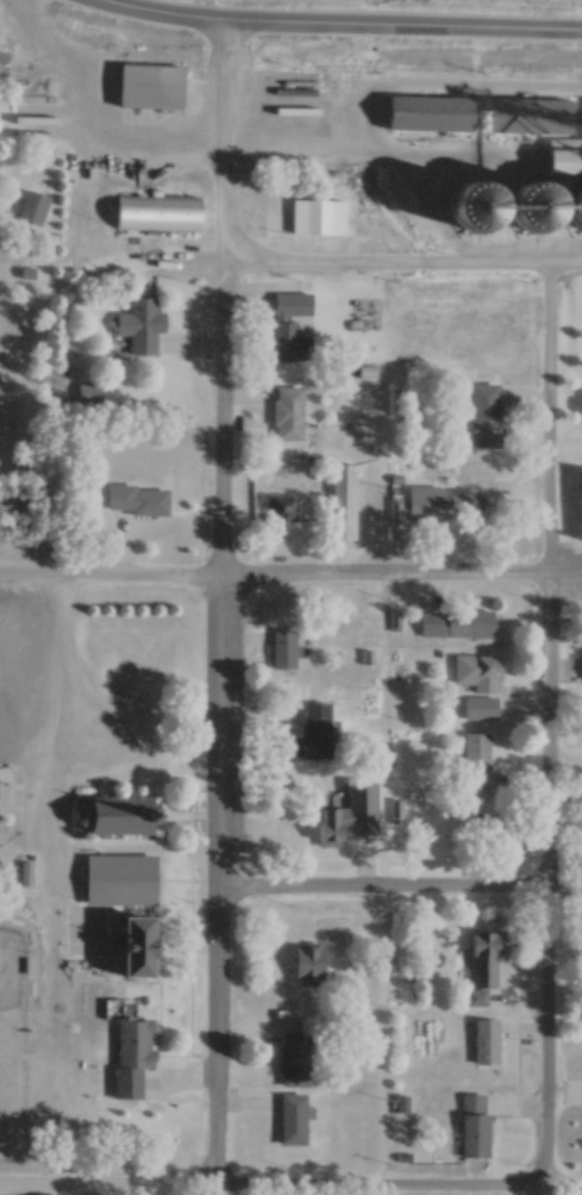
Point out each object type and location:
road: (332, 29)
building: (149, 86)
building: (427, 114)
building: (521, 116)
road: (82, 137)
road: (497, 188)
building: (550, 197)
building: (35, 207)
building: (157, 213)
building: (318, 218)
road: (403, 270)
building: (138, 326)
building: (284, 330)
building: (287, 413)
building: (486, 415)
building: (136, 500)
building: (343, 500)
building: (440, 504)
building: (578, 506)
building: (282, 509)
road: (290, 580)
road: (221, 608)
building: (455, 623)
building: (283, 648)
building: (477, 684)
building: (314, 729)
road: (549, 730)
road: (64, 735)
building: (477, 764)
building: (111, 814)
building: (345, 815)
building: (487, 827)
road: (400, 891)
building: (89, 915)
building: (478, 945)
building: (305, 963)
building: (477, 996)
building: (483, 1040)
building: (132, 1045)
building: (293, 1059)
building: (292, 1119)
building: (470, 1125)
road: (290, 1191)

